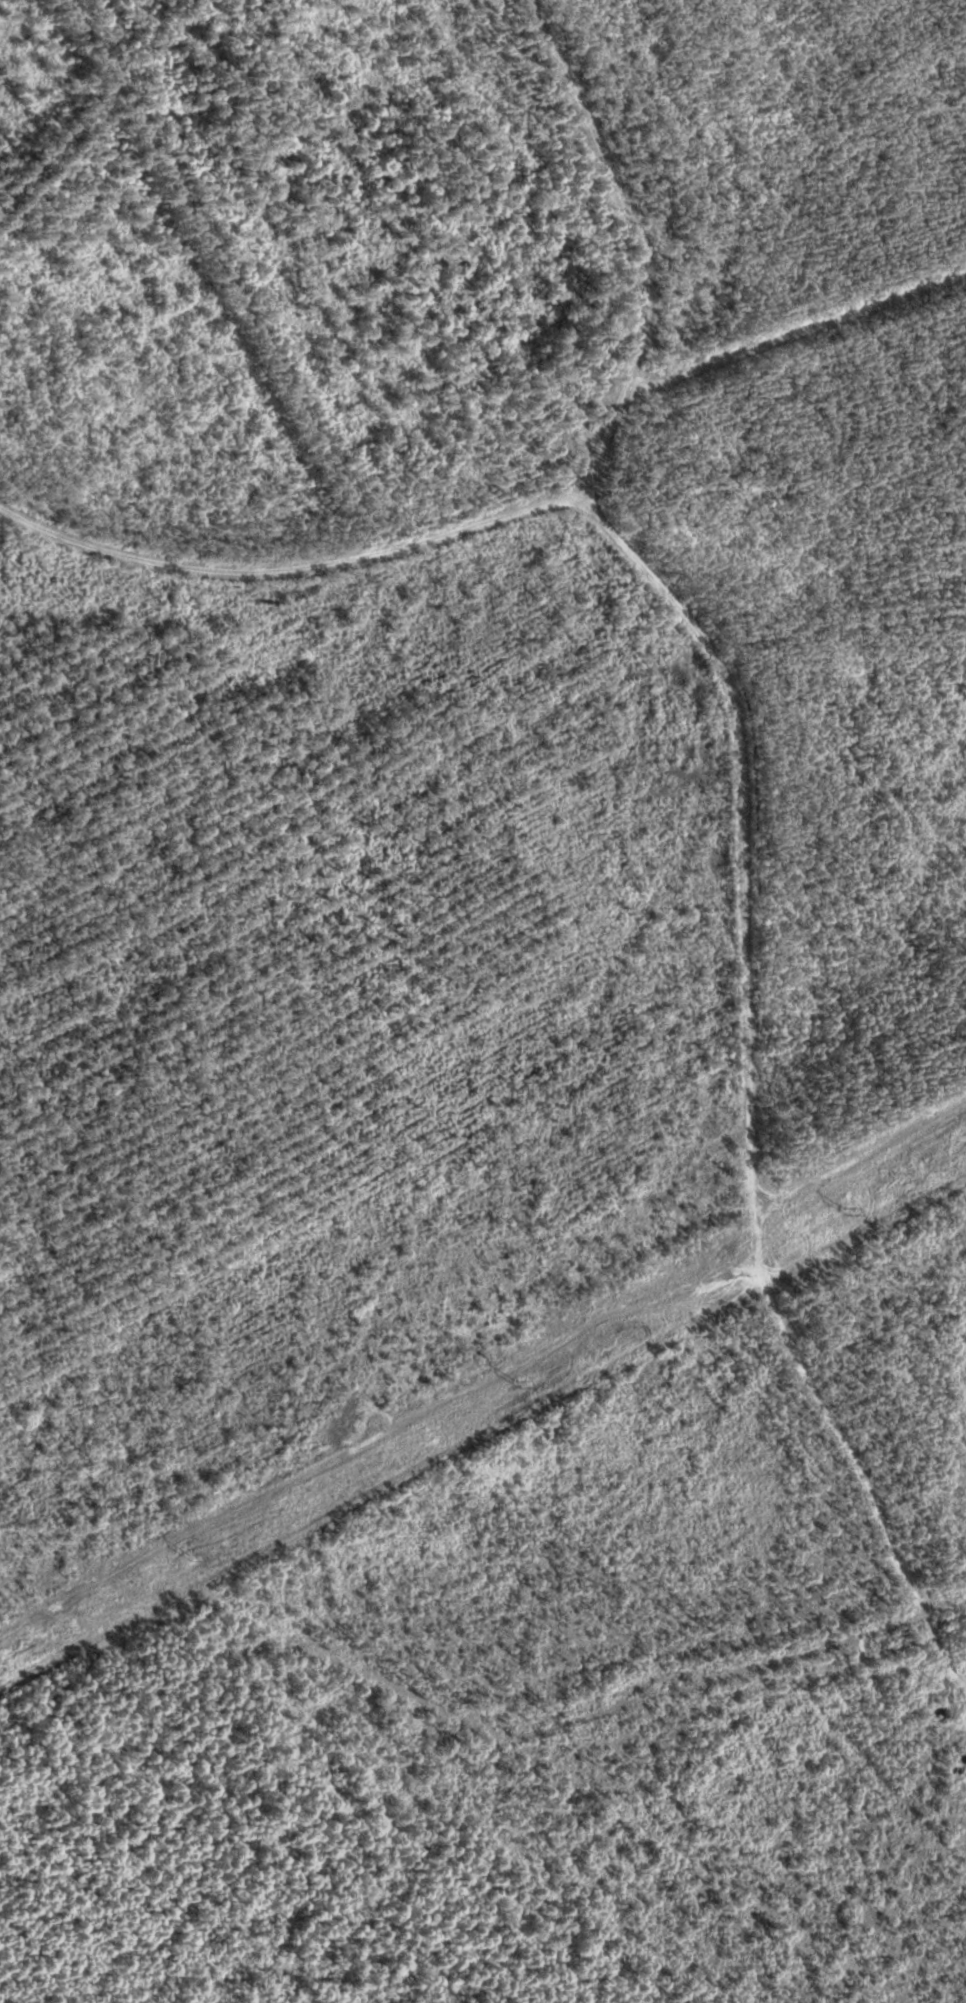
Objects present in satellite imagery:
road: (285, 535)
road: (746, 818)
power tower: (840, 1208)
power tower: (518, 1382)
power tower: (190, 1551)

